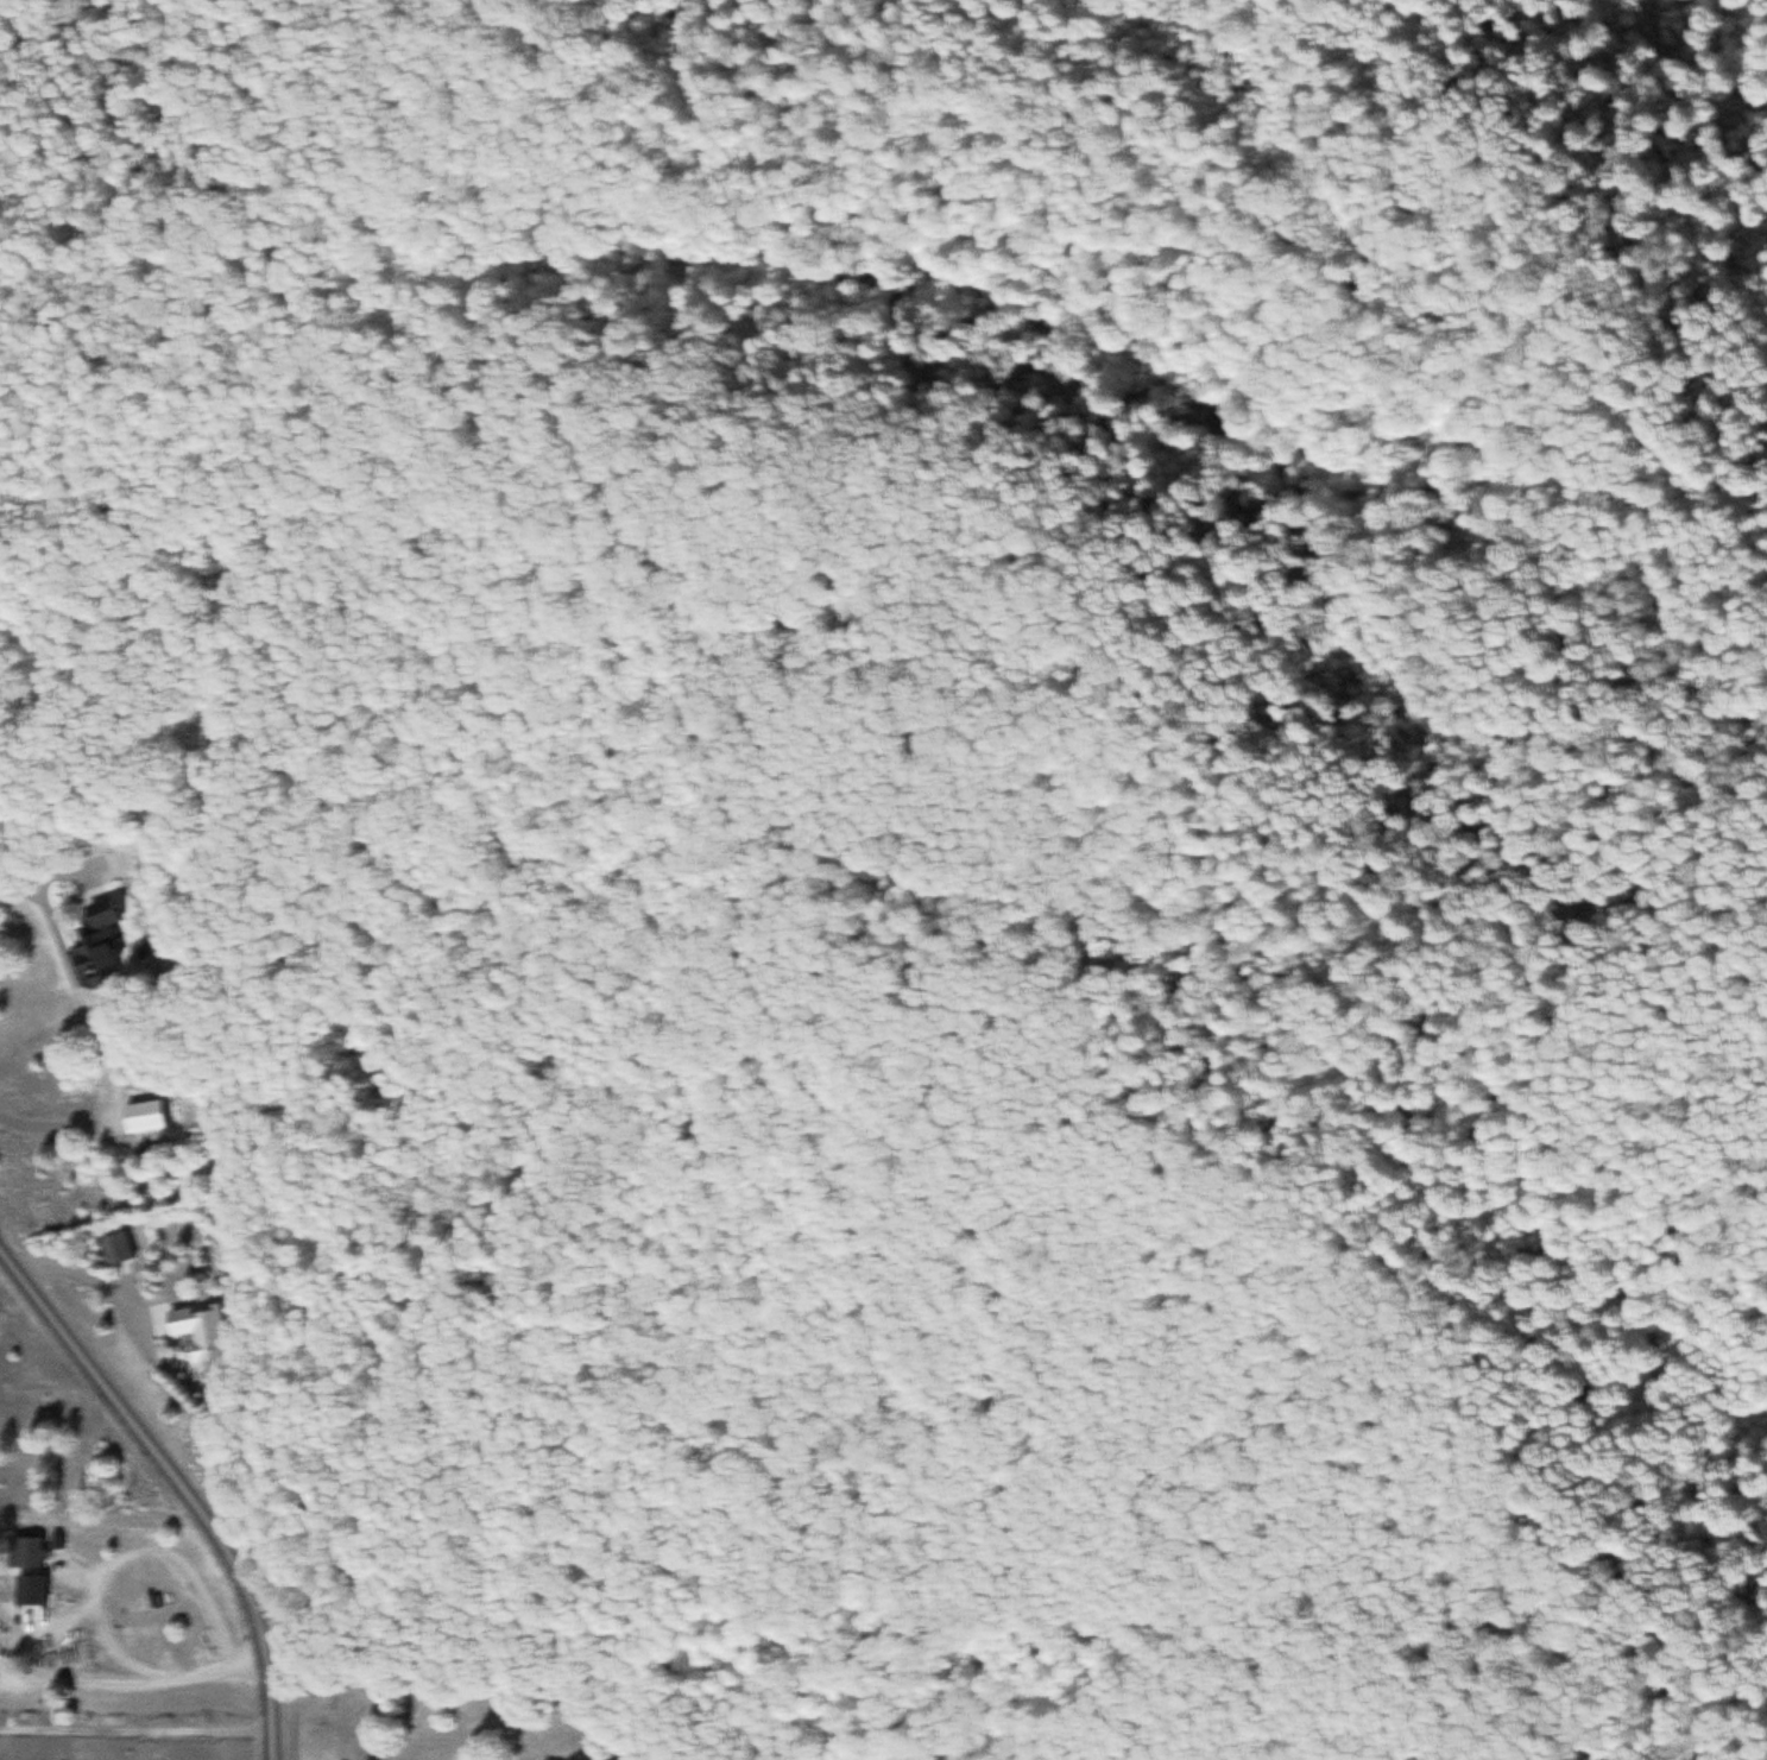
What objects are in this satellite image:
road: (1718, 42)
road: (1311, 246)
building: (106, 946)
building: (121, 1248)
building: (204, 1331)
road: (185, 1481)
building: (32, 1551)

